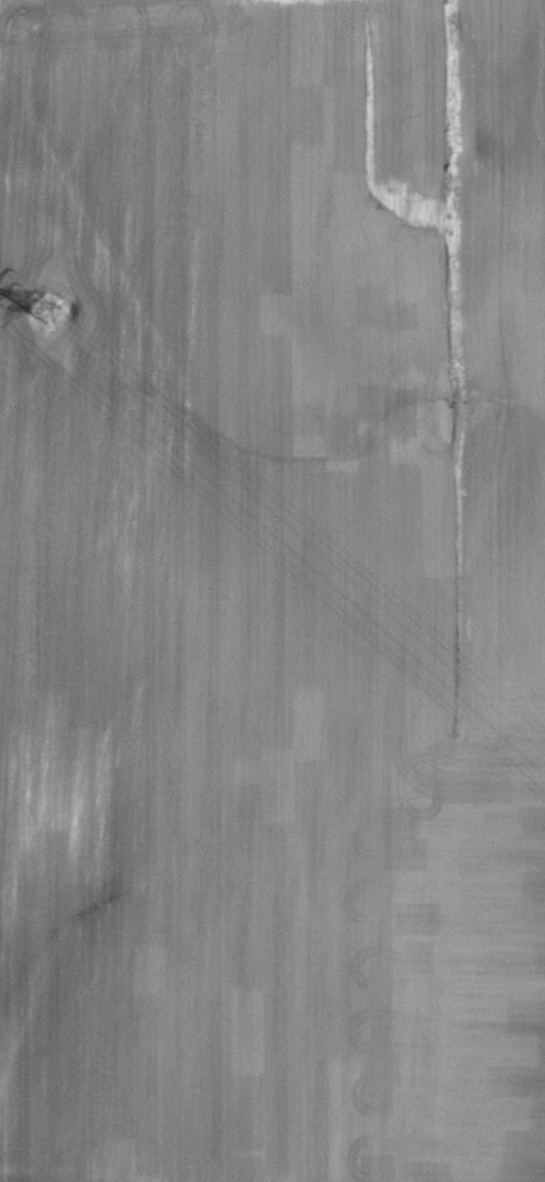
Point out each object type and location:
power tower: (43, 310)

